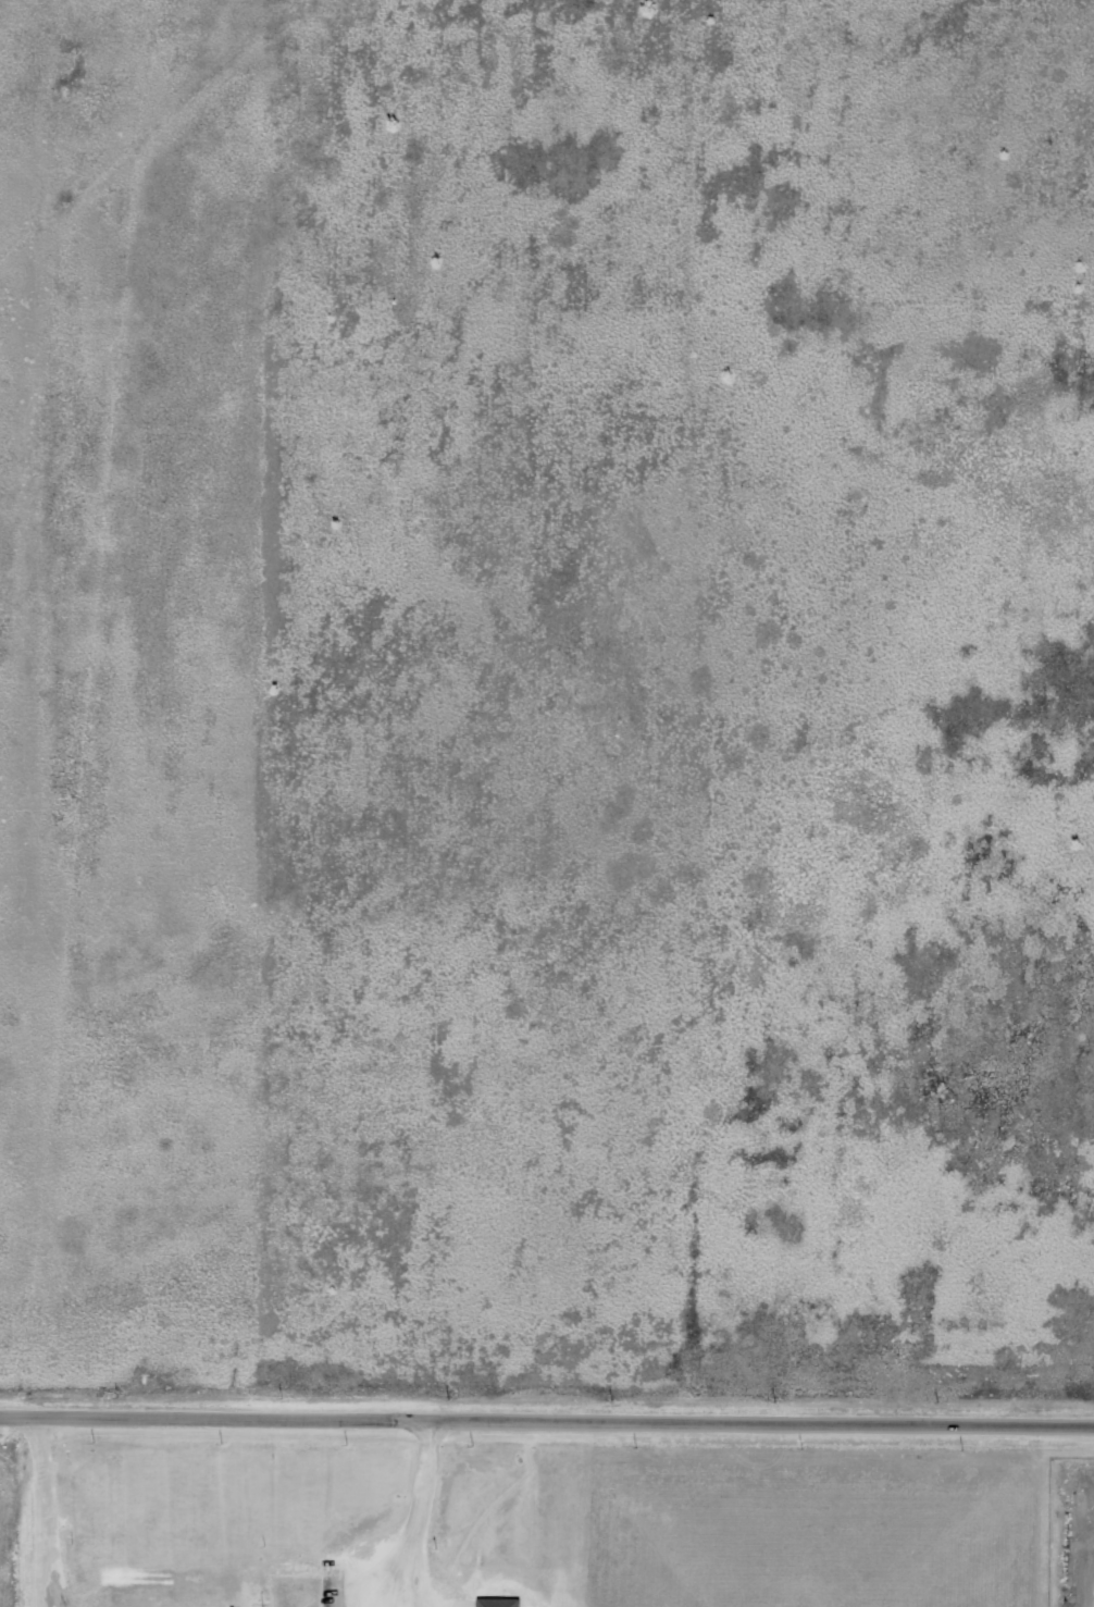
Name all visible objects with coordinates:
road: (547, 1421)
building: (497, 1602)

